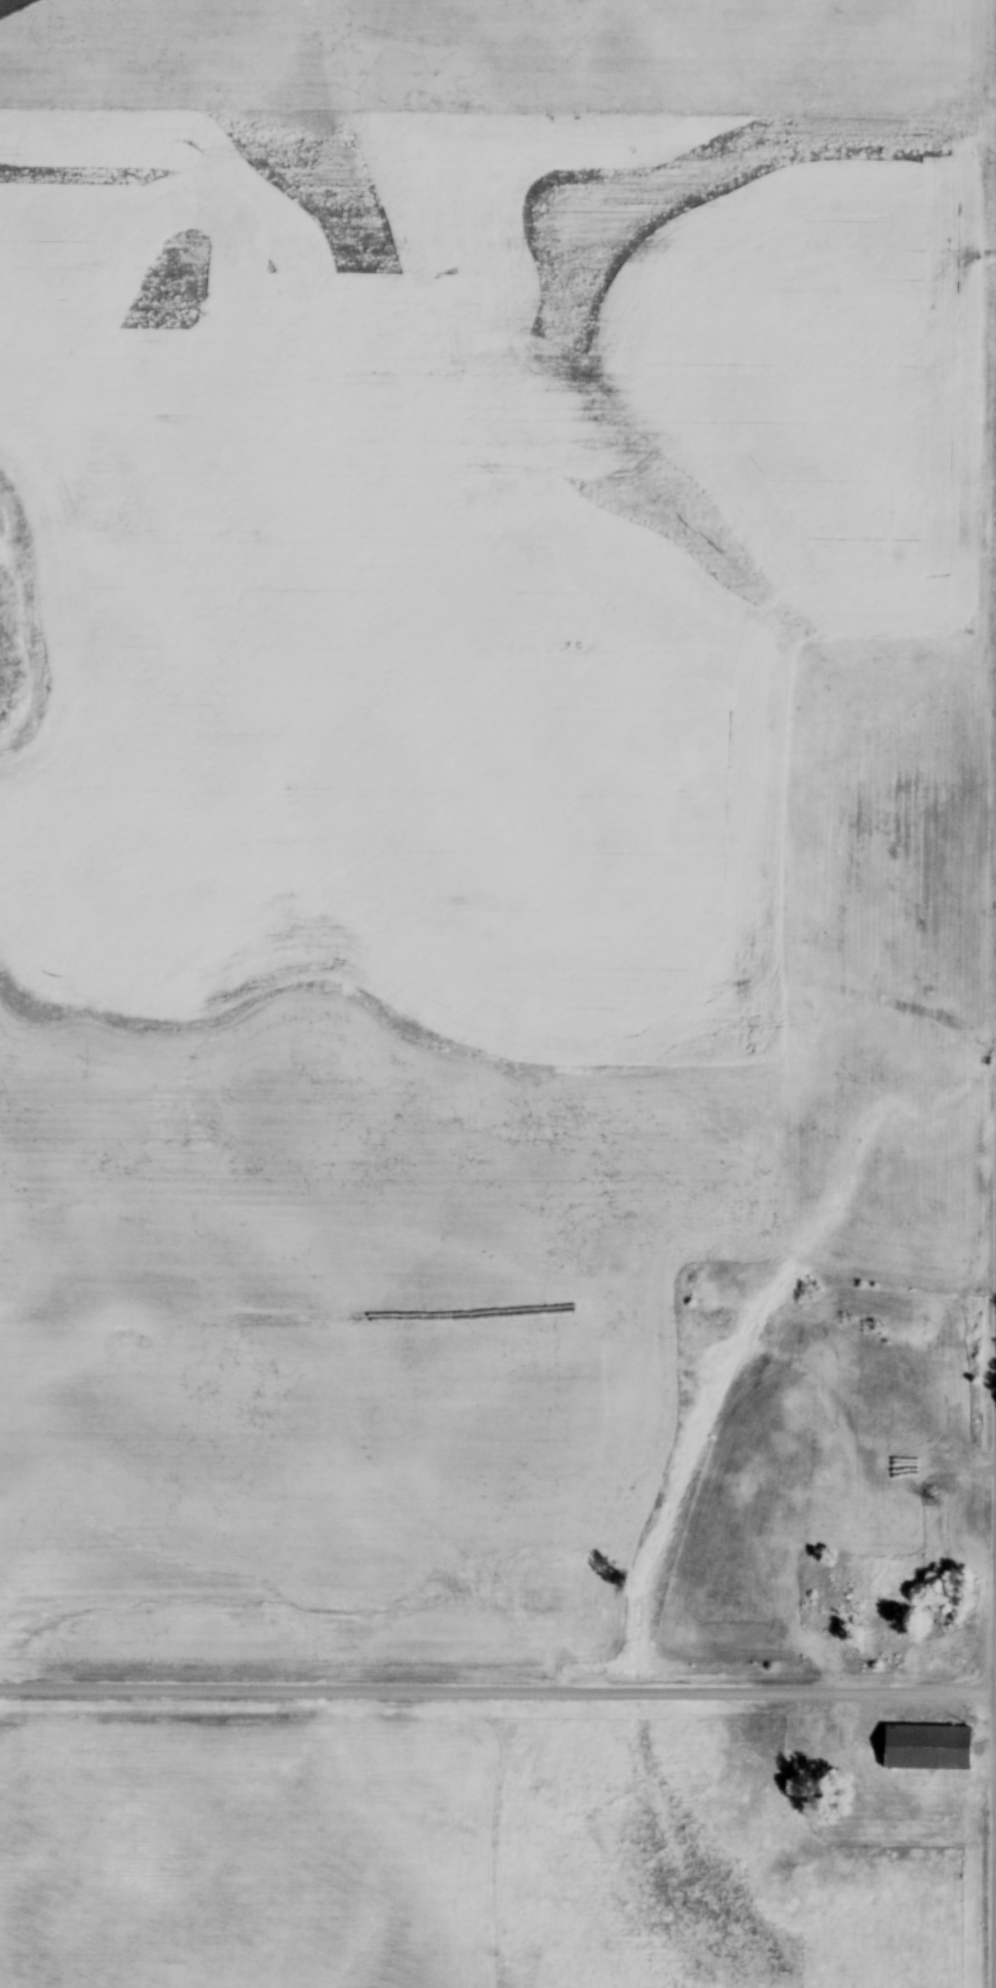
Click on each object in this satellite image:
road: (497, 1688)
building: (928, 1749)

